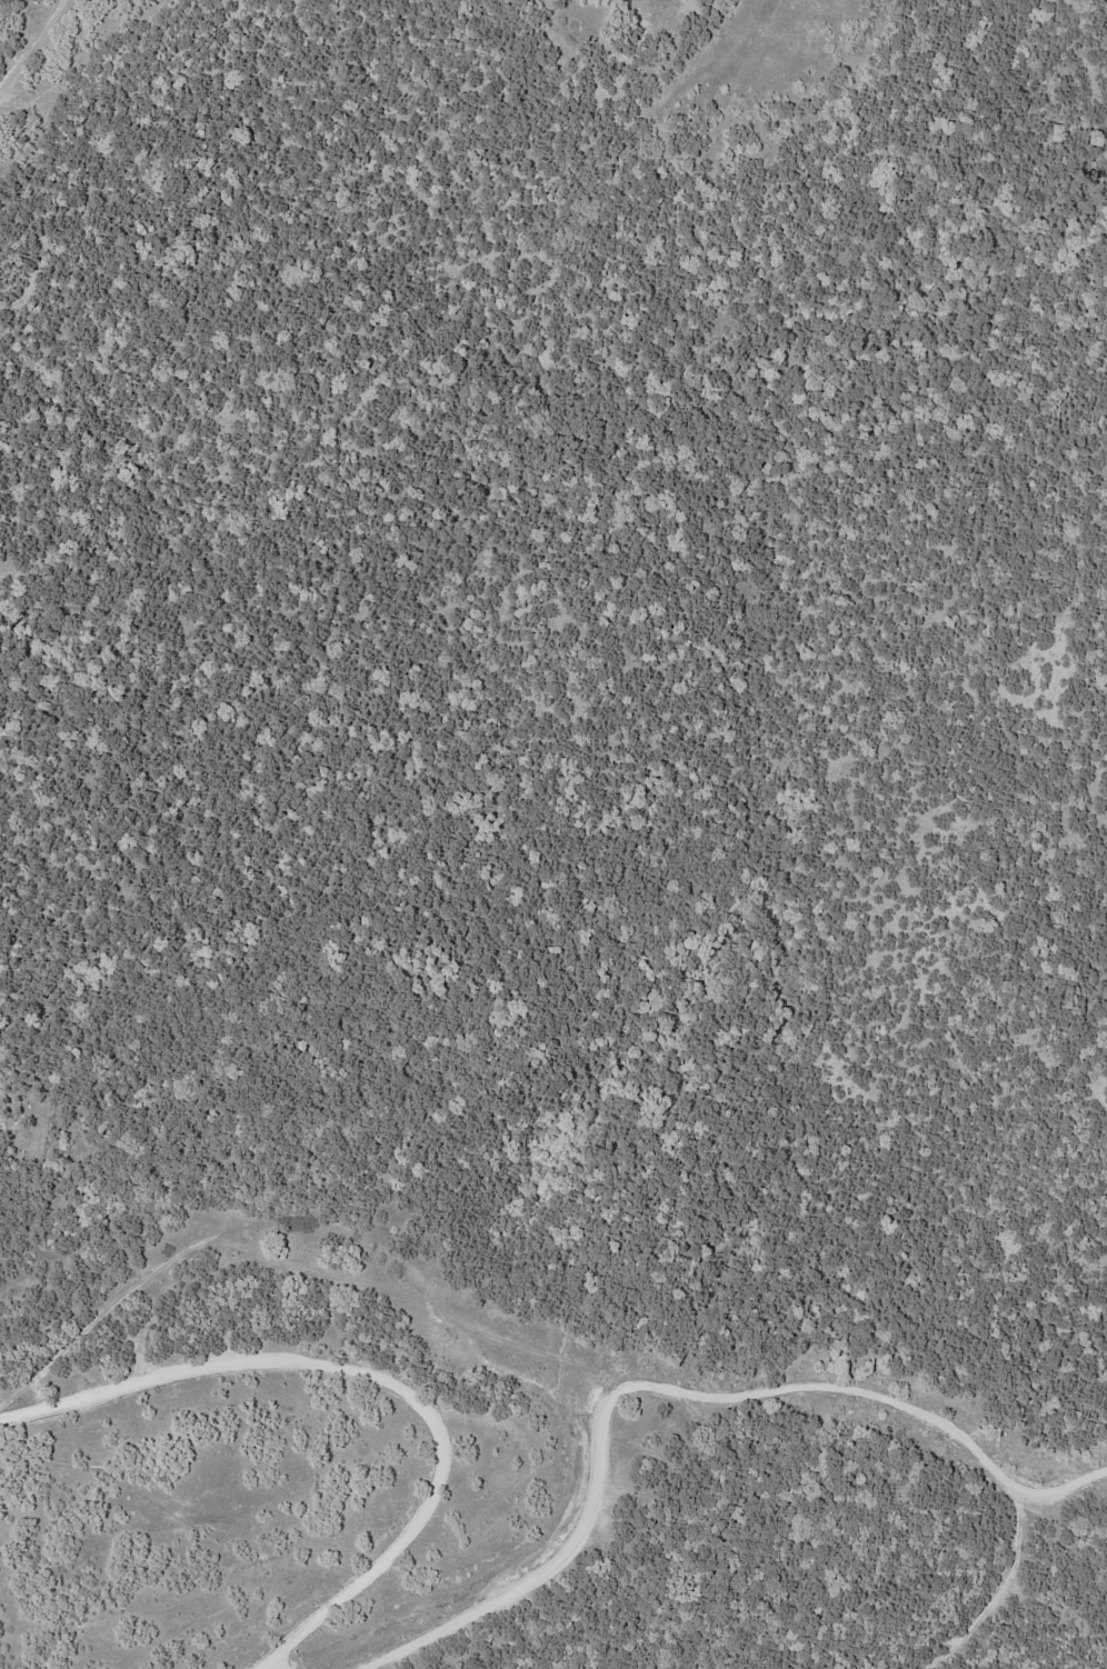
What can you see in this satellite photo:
road: (38, 44)
road: (380, 1382)

